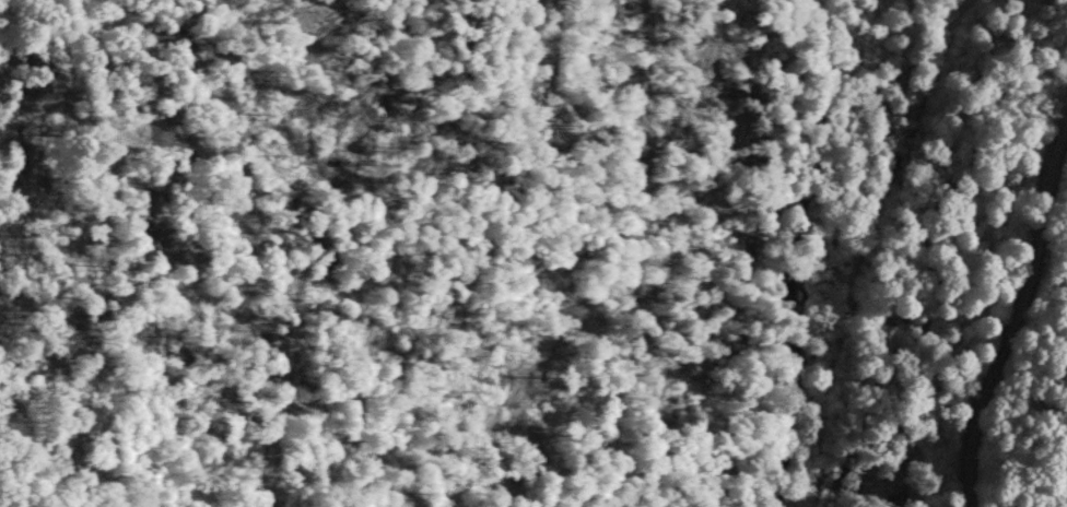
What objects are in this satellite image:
railway: (873, 251)
road: (1009, 303)

